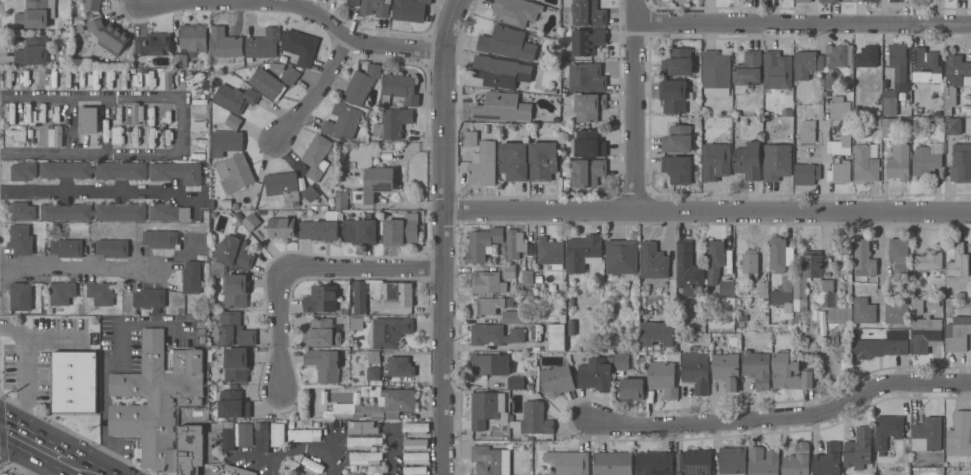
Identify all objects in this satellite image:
building: (803, 0)
building: (853, 0)
building: (872, 0)
building: (895, 0)
building: (831, 1)
building: (353, 2)
building: (92, 5)
building: (376, 7)
building: (410, 9)
building: (516, 11)
building: (36, 13)
building: (588, 13)
road: (296, 15)
road: (803, 22)
road: (452, 23)
building: (108, 34)
building: (194, 37)
building: (588, 40)
building: (225, 41)
building: (507, 42)
building: (153, 43)
building: (264, 43)
building: (300, 46)
building: (33, 49)
building: (839, 54)
building: (867, 55)
building: (180, 60)
building: (898, 60)
building: (678, 61)
building: (807, 62)
building: (925, 63)
building: (778, 69)
building: (500, 71)
building: (748, 71)
building: (716, 72)
building: (291, 74)
building: (194, 75)
building: (94, 76)
building: (165, 76)
building: (585, 76)
building: (109, 77)
building: (137, 77)
building: (23, 78)
building: (955, 79)
building: (66, 80)
building: (268, 83)
building: (363, 83)
building: (400, 88)
road: (314, 95)
building: (674, 95)
building: (889, 95)
building: (235, 97)
road: (637, 105)
building: (502, 106)
building: (589, 106)
building: (840, 107)
building: (137, 112)
road: (70, 113)
building: (154, 113)
building: (89, 119)
building: (343, 120)
building: (234, 121)
building: (393, 122)
road: (184, 123)
building: (953, 125)
building: (106, 130)
building: (807, 130)
building: (20, 132)
building: (43, 135)
building: (55, 135)
building: (134, 136)
building: (167, 136)
building: (471, 137)
building: (678, 138)
building: (226, 141)
building: (589, 143)
building: (840, 144)
building: (895, 151)
building: (316, 155)
building: (514, 160)
building: (543, 160)
building: (716, 160)
building: (749, 160)
building: (926, 160)
building: (777, 161)
building: (961, 162)
building: (484, 163)
building: (865, 163)
road: (824, 167)
building: (678, 168)
building: (94, 169)
building: (24, 170)
building: (176, 171)
building: (236, 171)
building: (587, 171)
building: (840, 171)
building: (807, 173)
road: (402, 175)
building: (375, 183)
building: (283, 184)
building: (311, 192)
road: (96, 193)
building: (341, 199)
building: (22, 210)
building: (93, 211)
building: (168, 211)
road: (709, 212)
building: (251, 221)
building: (282, 227)
building: (321, 227)
building: (402, 229)
building: (360, 231)
building: (21, 238)
building: (159, 238)
building: (515, 243)
building: (484, 244)
building: (66, 246)
building: (113, 247)
building: (898, 248)
building: (235, 251)
building: (551, 251)
building: (584, 251)
building: (780, 254)
building: (622, 257)
road: (881, 257)
building: (864, 258)
building: (715, 259)
building: (654, 260)
building: (750, 260)
building: (928, 260)
road: (447, 261)
building: (958, 261)
road: (79, 266)
road: (368, 266)
building: (509, 270)
building: (689, 270)
building: (901, 270)
building: (808, 272)
building: (527, 275)
building: (192, 277)
building: (487, 281)
building: (727, 287)
building: (236, 289)
building: (764, 289)
building: (62, 292)
building: (101, 292)
building: (398, 293)
building: (783, 293)
building: (21, 295)
building: (360, 296)
building: (150, 297)
building: (321, 298)
building: (835, 303)
building: (487, 305)
building: (917, 305)
building: (864, 310)
building: (898, 310)
building: (517, 316)
road: (279, 324)
building: (233, 330)
building: (390, 331)
building: (321, 332)
building: (958, 332)
building: (657, 333)
building: (926, 333)
building: (495, 334)
building: (558, 334)
building: (879, 347)
building: (374, 356)
building: (621, 361)
building: (324, 363)
building: (490, 363)
building: (235, 364)
building: (401, 366)
building: (757, 368)
building: (727, 369)
building: (697, 370)
building: (374, 372)
building: (791, 372)
road: (25, 373)
building: (596, 374)
building: (663, 378)
building: (557, 379)
building: (75, 381)
building: (516, 382)
building: (632, 388)
road: (105, 392)
building: (157, 399)
building: (234, 404)
building: (378, 404)
building: (487, 407)
road: (783, 417)
building: (531, 420)
building: (362, 427)
building: (417, 427)
building: (888, 429)
building: (245, 433)
building: (278, 433)
building: (960, 433)
building: (305, 434)
building: (928, 434)
building: (228, 435)
building: (262, 436)
building: (364, 441)
road: (32, 442)
building: (415, 443)
road: (304, 444)
building: (859, 448)
building: (191, 449)
road: (392, 450)
building: (366, 456)
building: (417, 457)
building: (828, 459)
building: (491, 460)
building: (733, 460)
building: (798, 460)
building: (698, 461)
building: (764, 461)
building: (568, 462)
building: (614, 463)
building: (655, 463)
road: (207, 464)
building: (292, 464)
building: (313, 465)
road: (80, 467)
building: (416, 469)
building: (240, 470)
building: (375, 470)
building: (280, 474)
building: (281, 474)
building: (285, 474)

